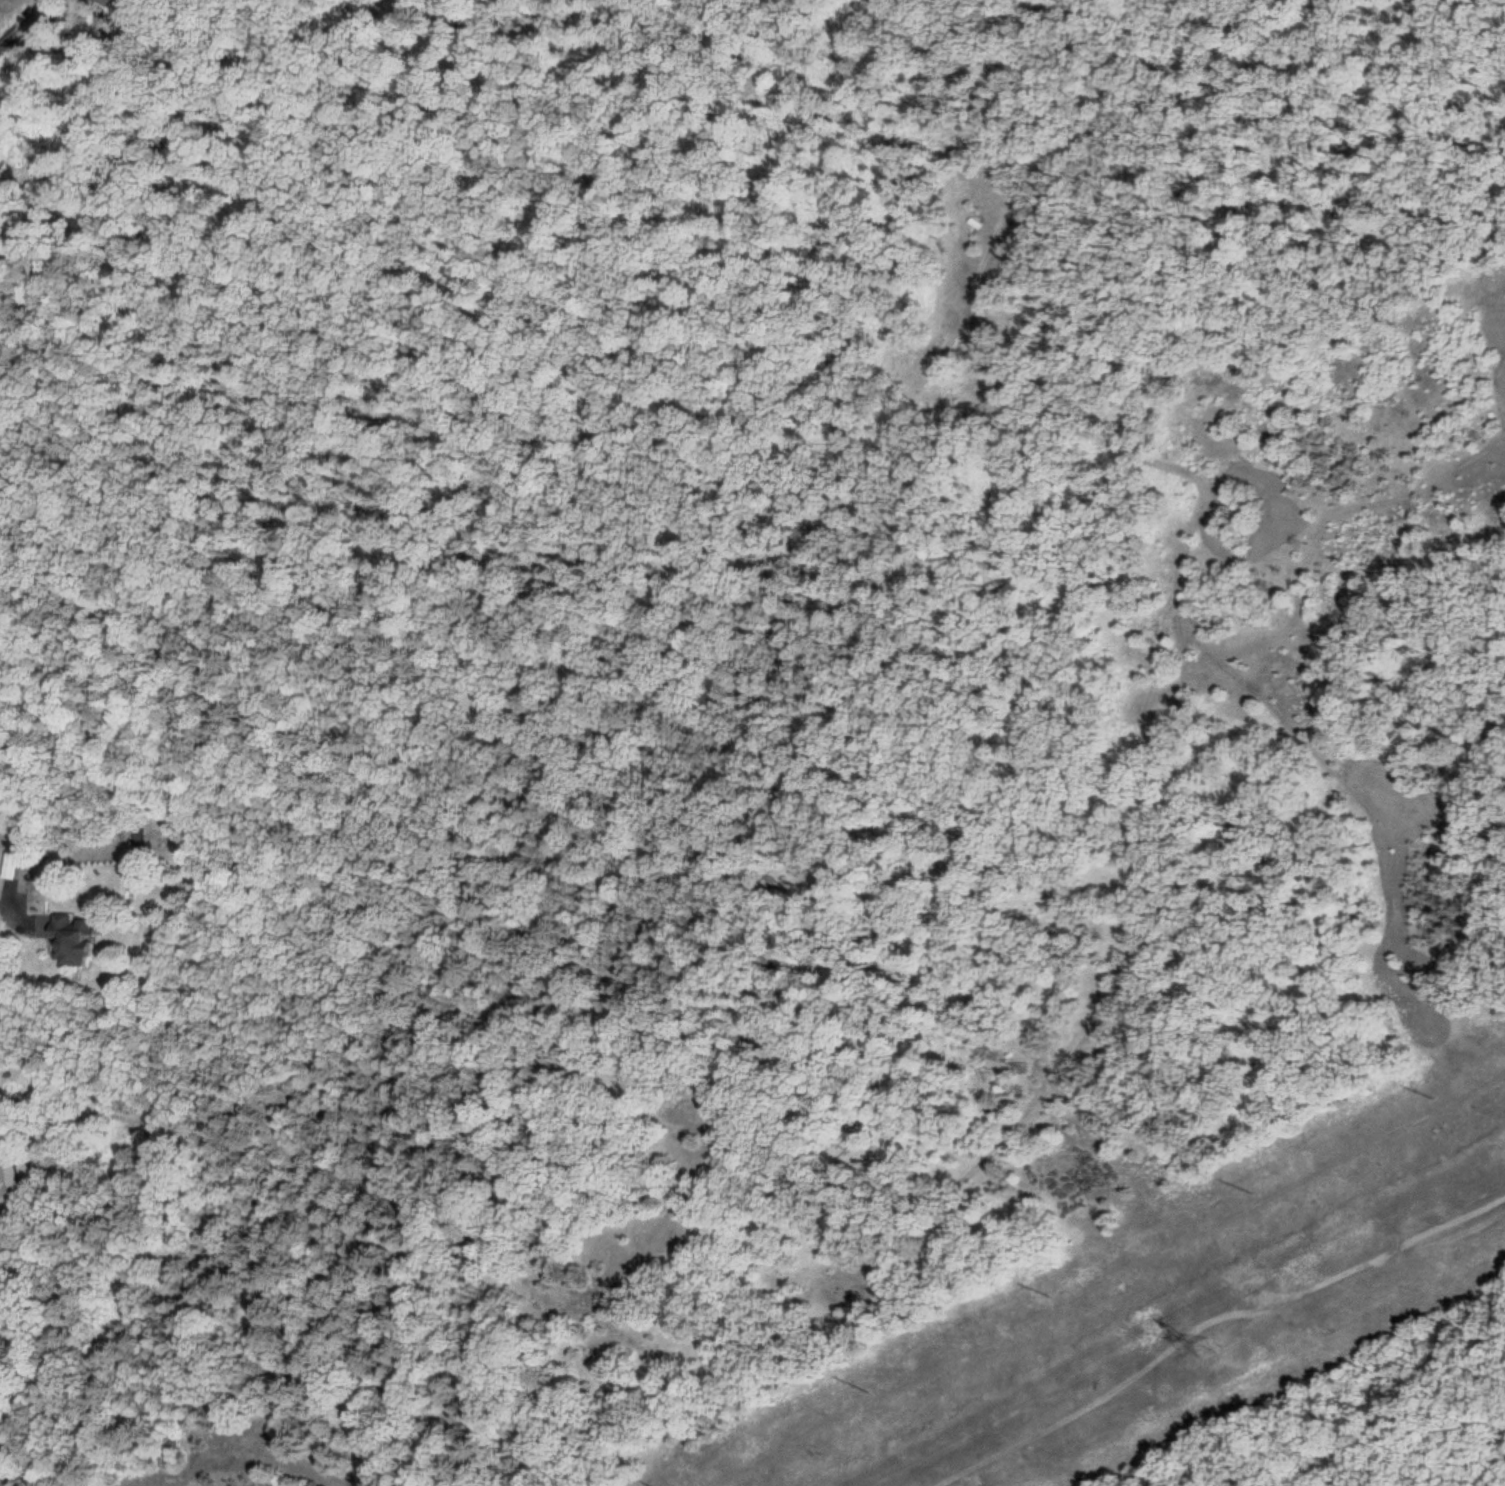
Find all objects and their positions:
building: (9, 866)
building: (73, 941)
building: (10, 1179)
power tower: (1202, 1347)

